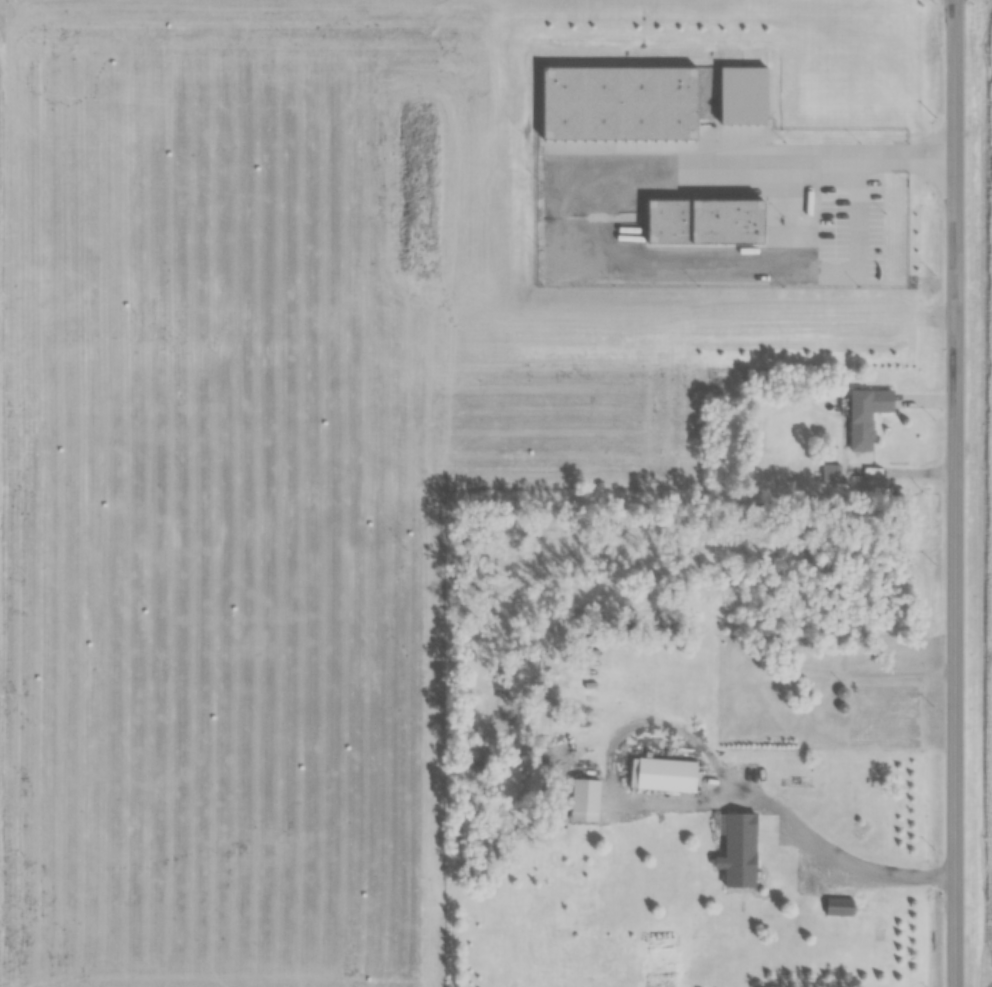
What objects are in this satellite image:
building: (724, 96)
building: (610, 109)
building: (695, 226)
building: (857, 420)
building: (829, 473)
road: (953, 493)
building: (841, 692)
building: (662, 774)
building: (583, 799)
building: (737, 850)
building: (838, 906)

